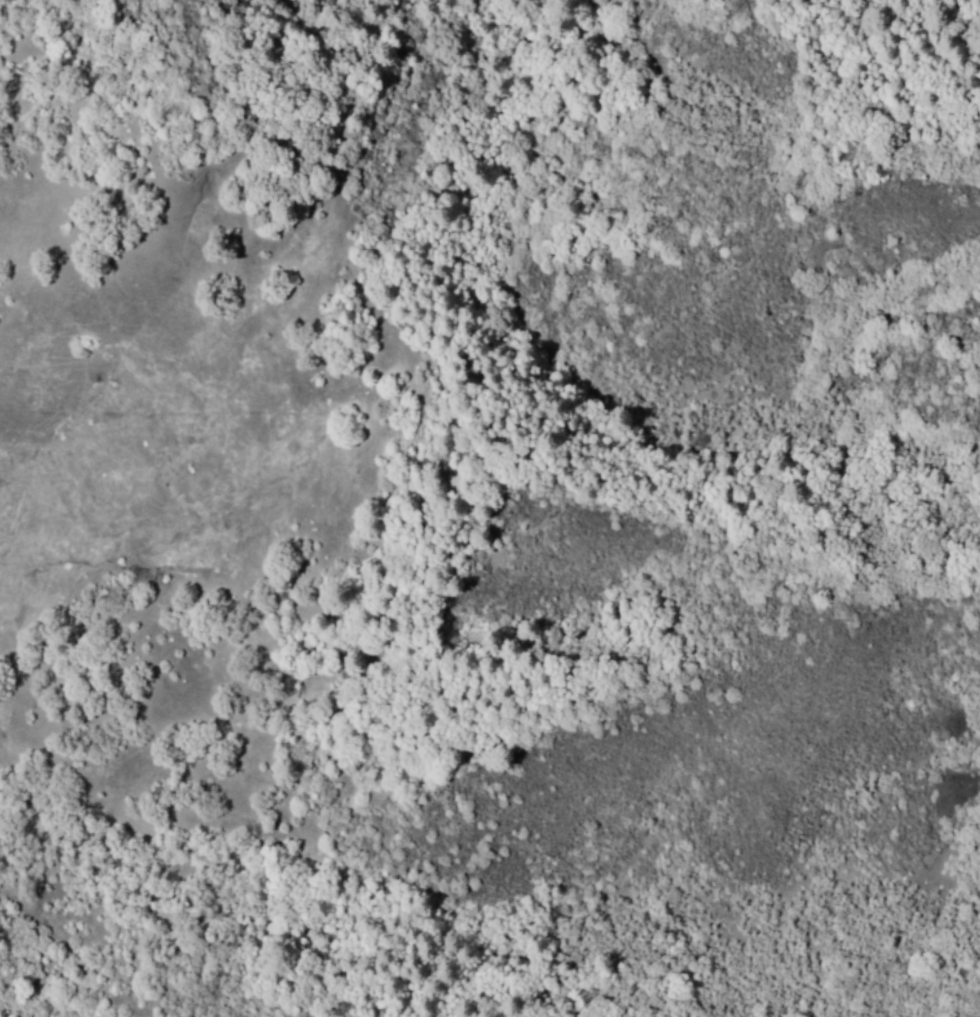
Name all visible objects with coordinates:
road: (95, 953)

